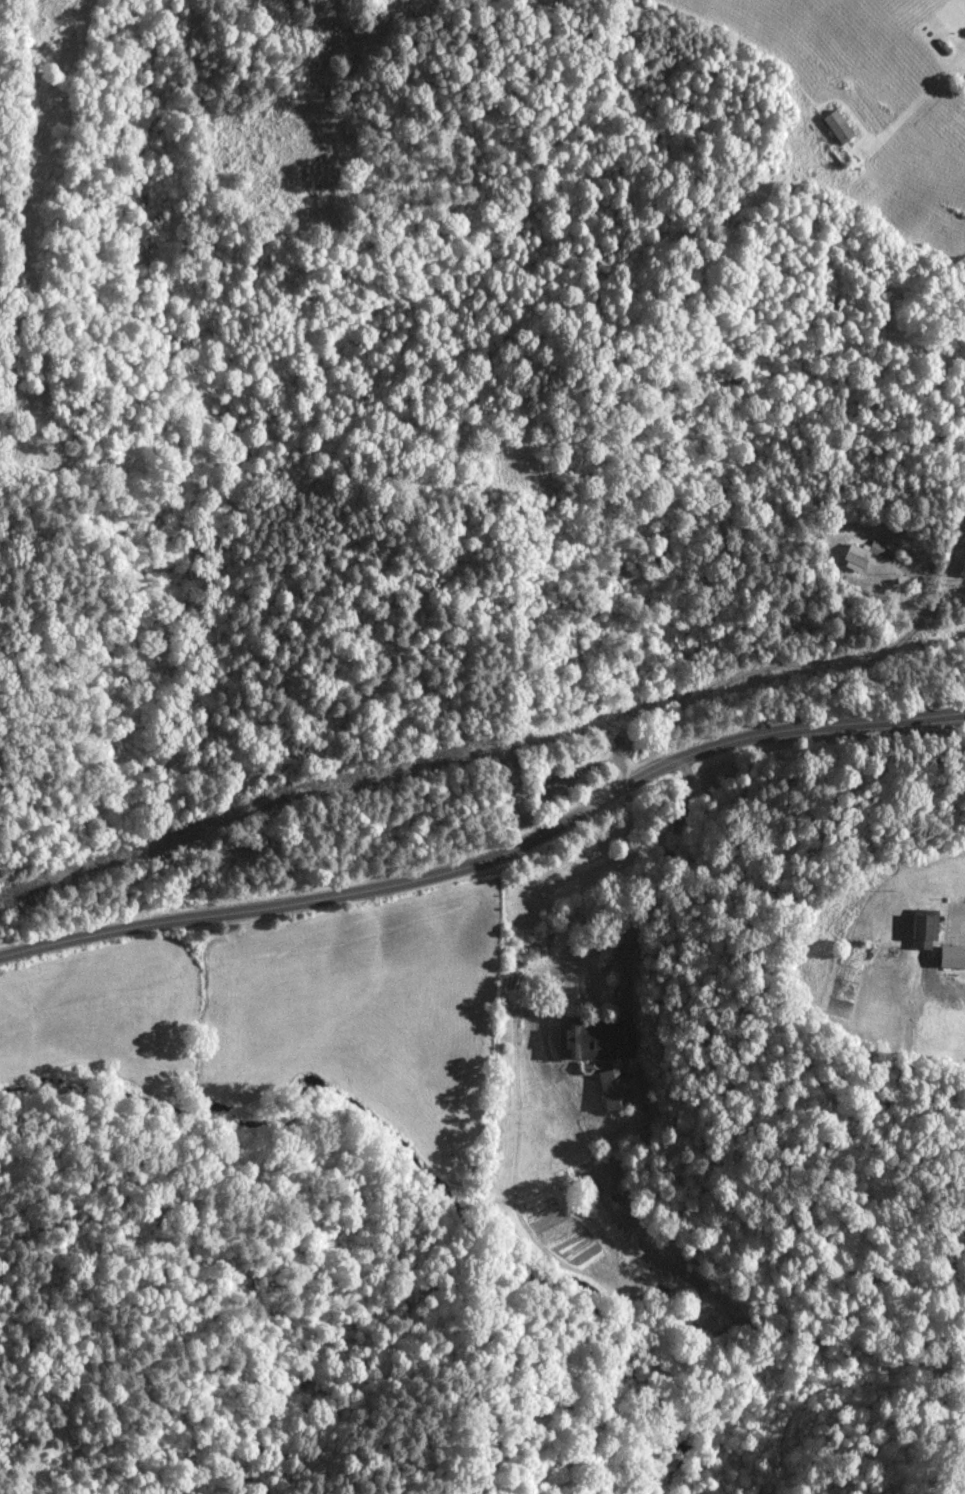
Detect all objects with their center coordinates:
building: (840, 128)
building: (859, 557)
road: (802, 662)
building: (624, 738)
road: (491, 858)
road: (950, 927)
building: (927, 930)
building: (600, 1038)
building: (616, 1089)

